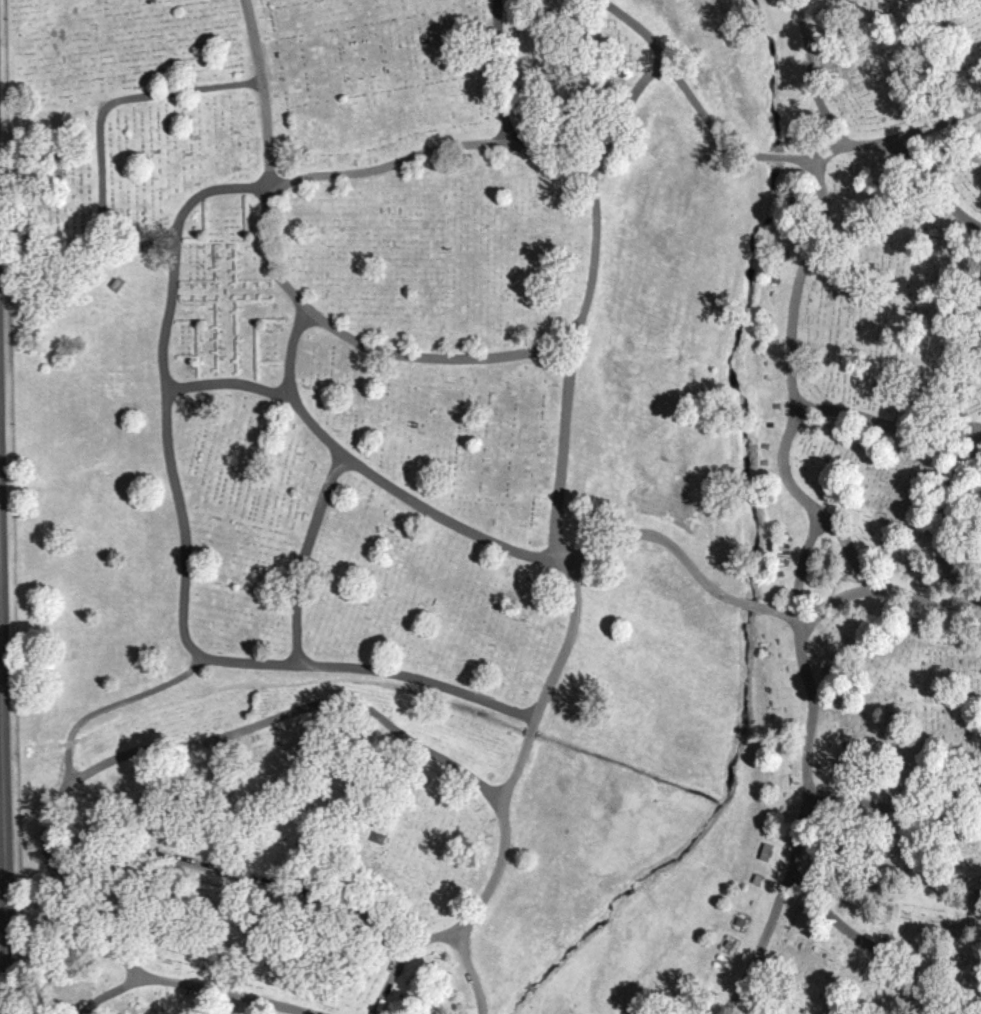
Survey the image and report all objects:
road: (501, 68)
road: (812, 74)
road: (262, 91)
road: (117, 101)
road: (619, 112)
road: (764, 155)
road: (931, 184)
road: (596, 212)
road: (115, 238)
road: (154, 248)
road: (800, 276)
road: (357, 340)
road: (163, 363)
road: (889, 423)
road: (414, 500)
park: (501, 505)
road: (944, 524)
road: (849, 550)
road: (303, 553)
road: (685, 558)
road: (885, 590)
road: (316, 664)
road: (813, 707)
road: (226, 734)
road: (3, 789)
road: (895, 808)
road: (487, 891)
road: (67, 894)
road: (870, 945)
road: (472, 973)
road: (389, 979)
road: (229, 991)
road: (109, 992)

